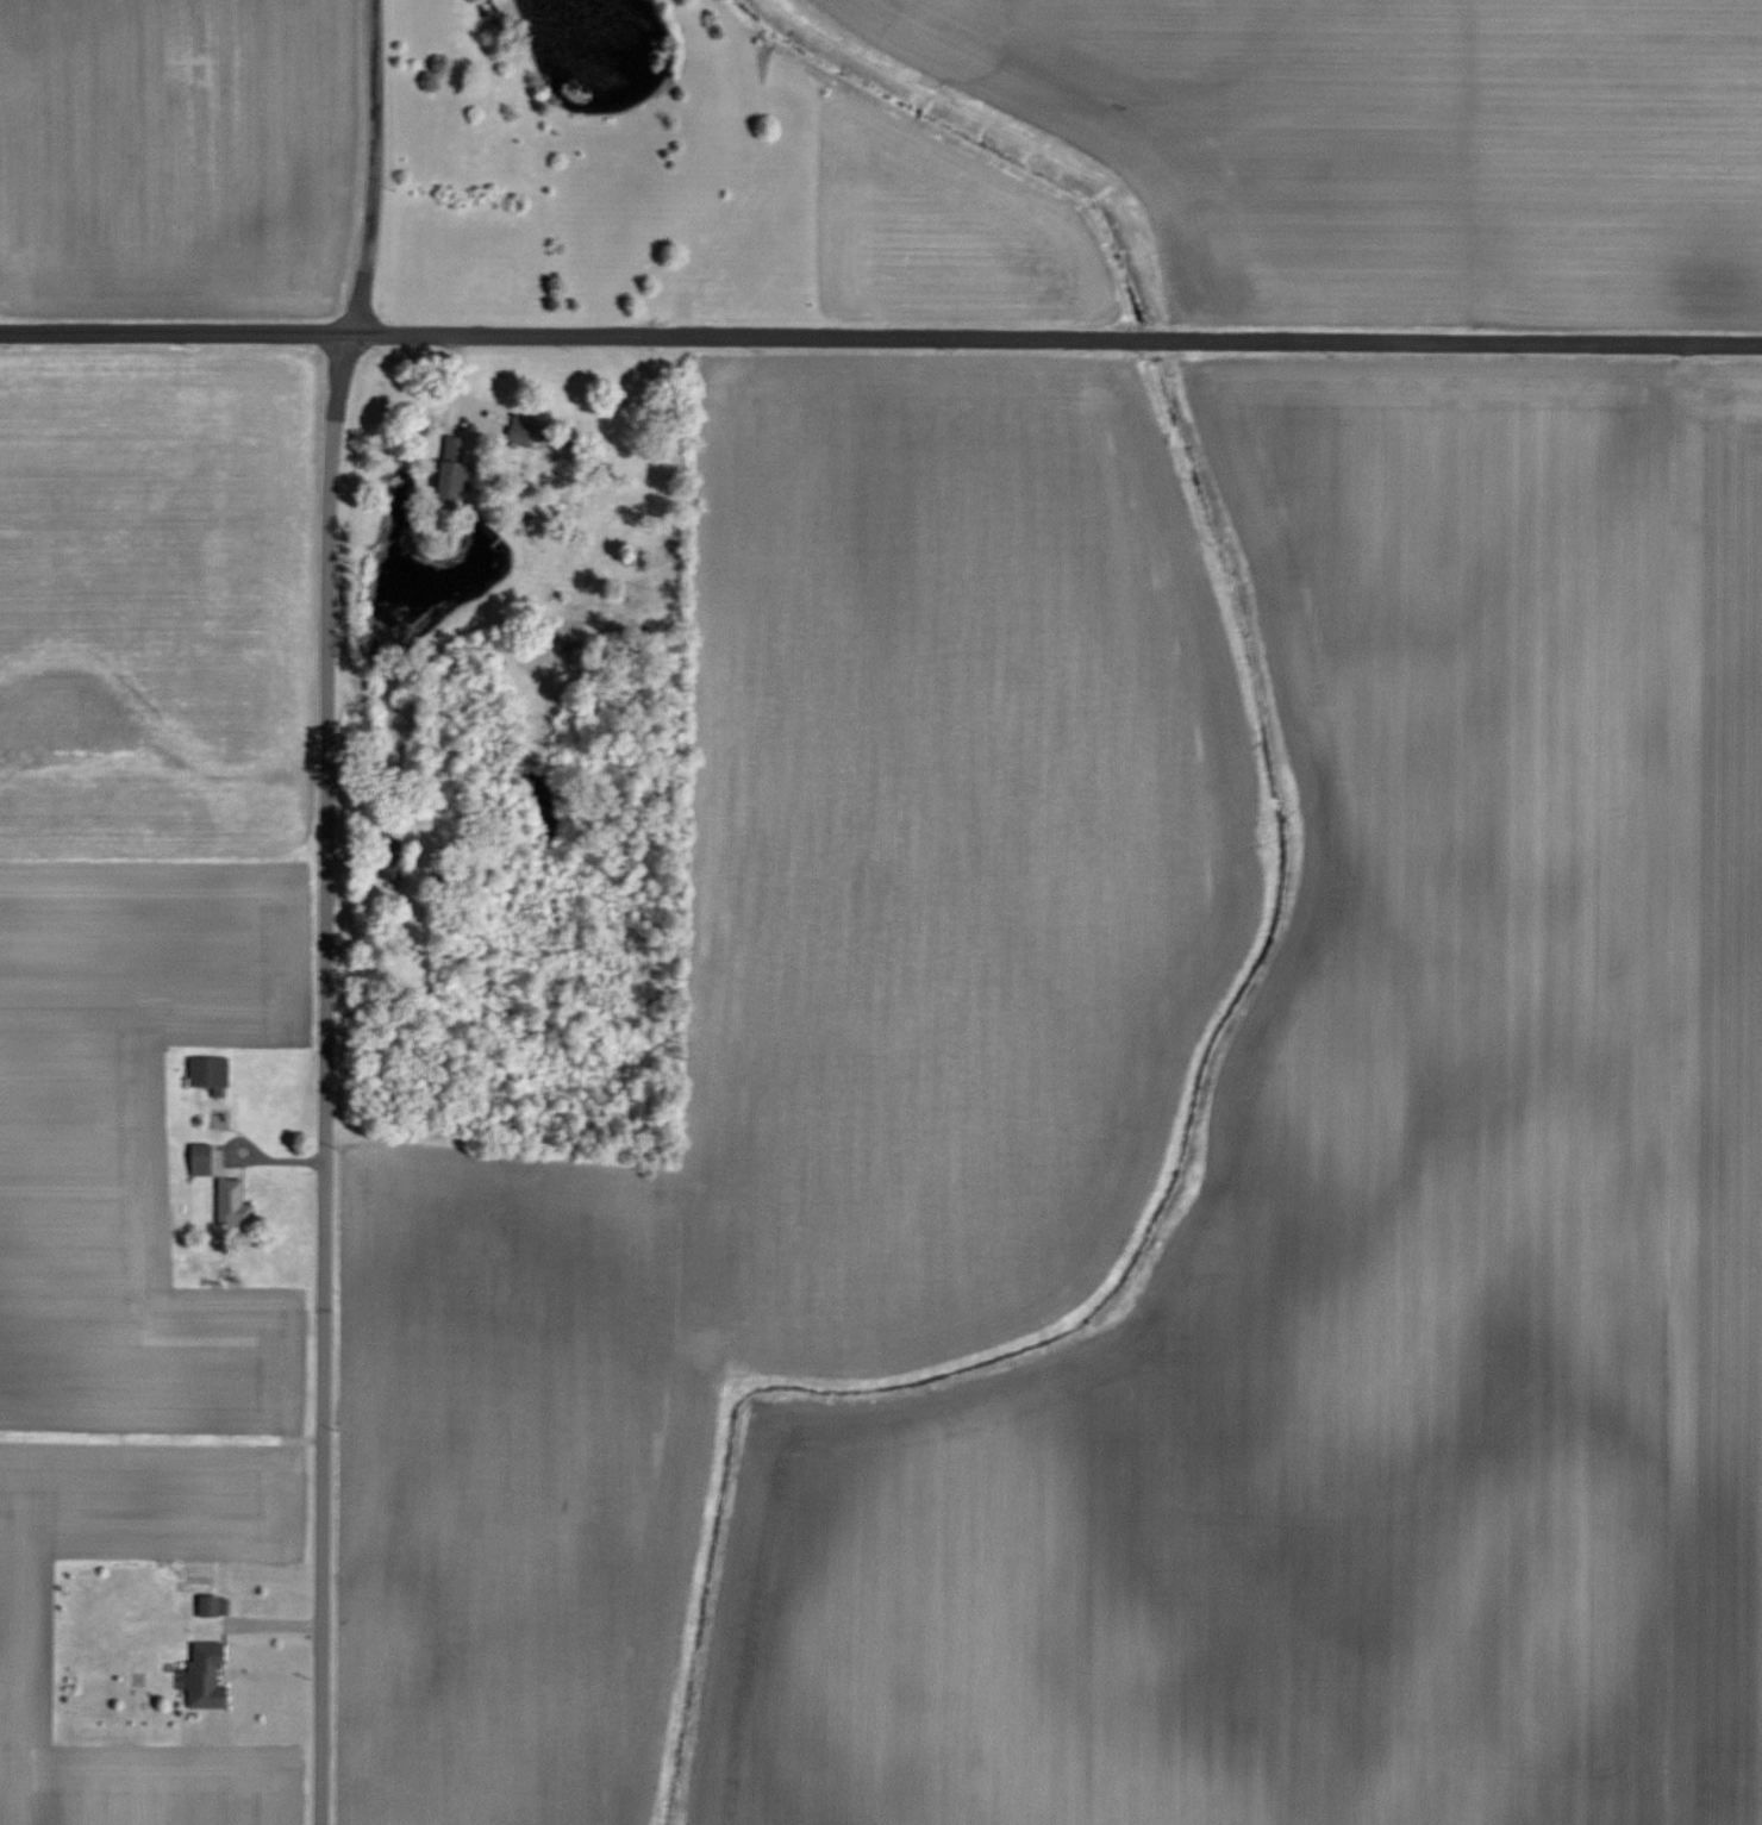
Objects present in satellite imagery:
road: (881, 339)
building: (458, 471)
road: (319, 910)
building: (212, 1074)
building: (202, 1160)
building: (236, 1202)
building: (211, 1675)

